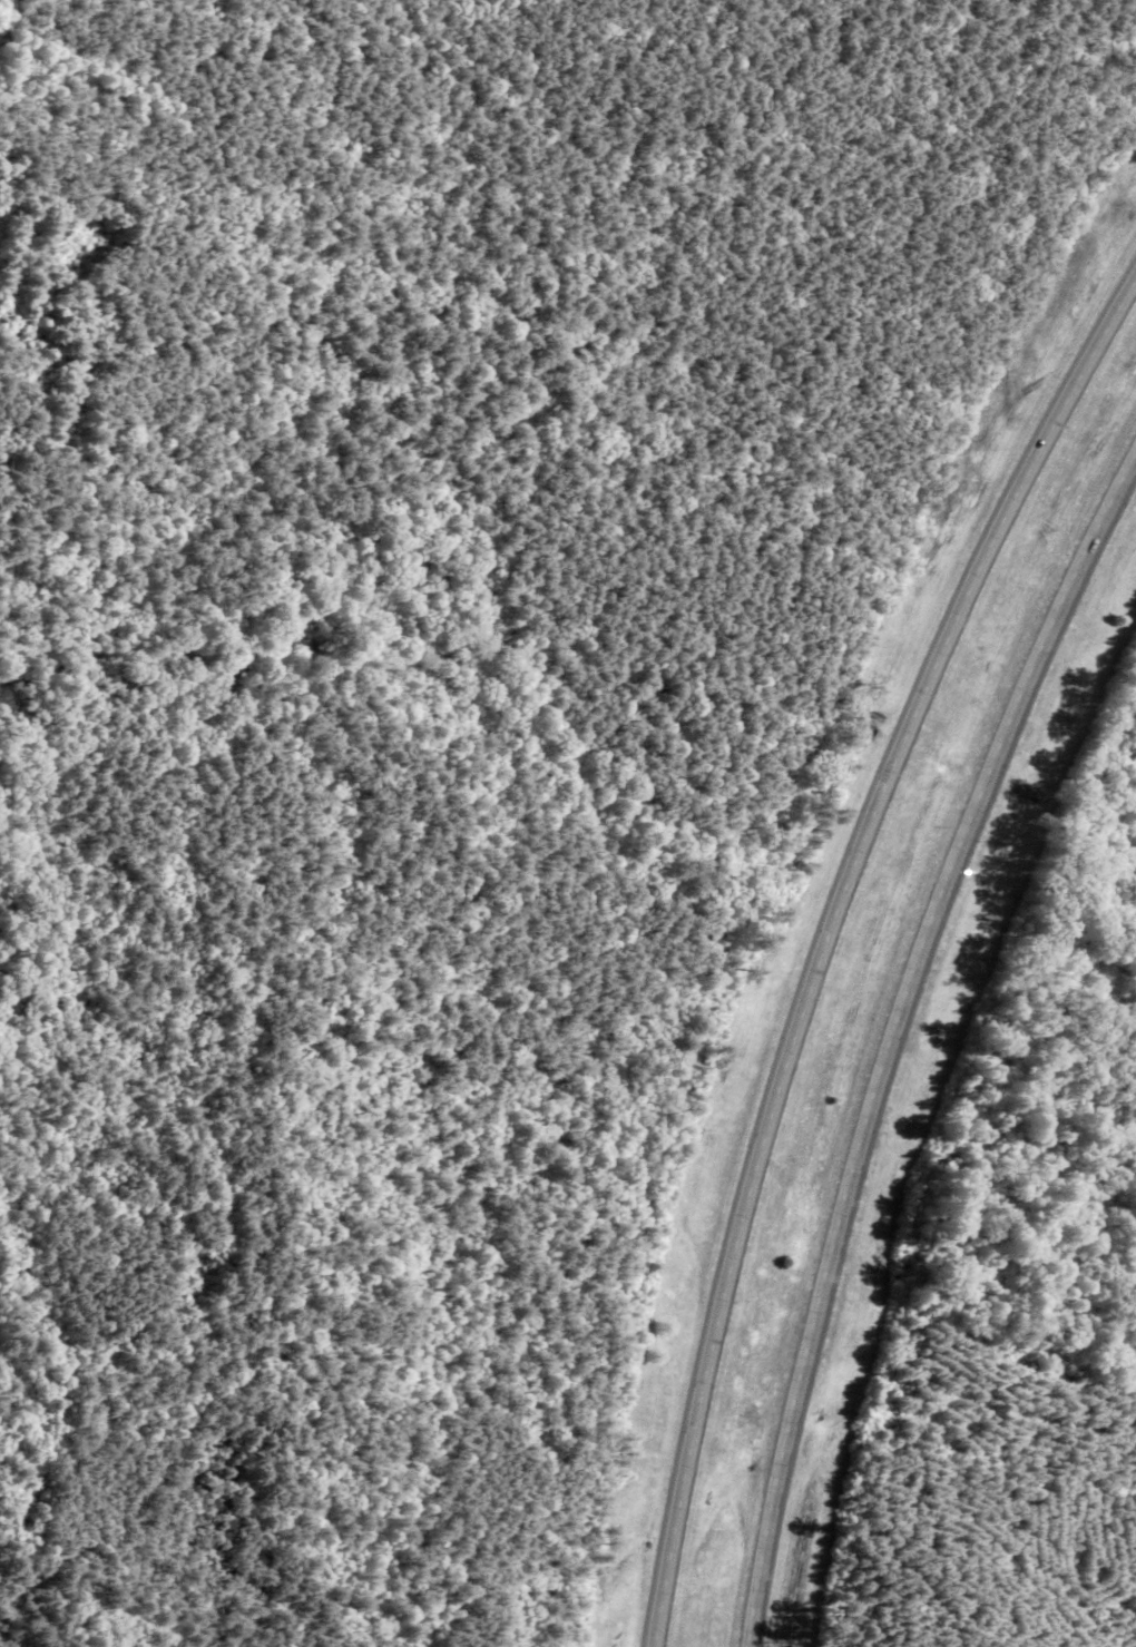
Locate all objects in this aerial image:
road: (829, 939)
road: (894, 1035)

